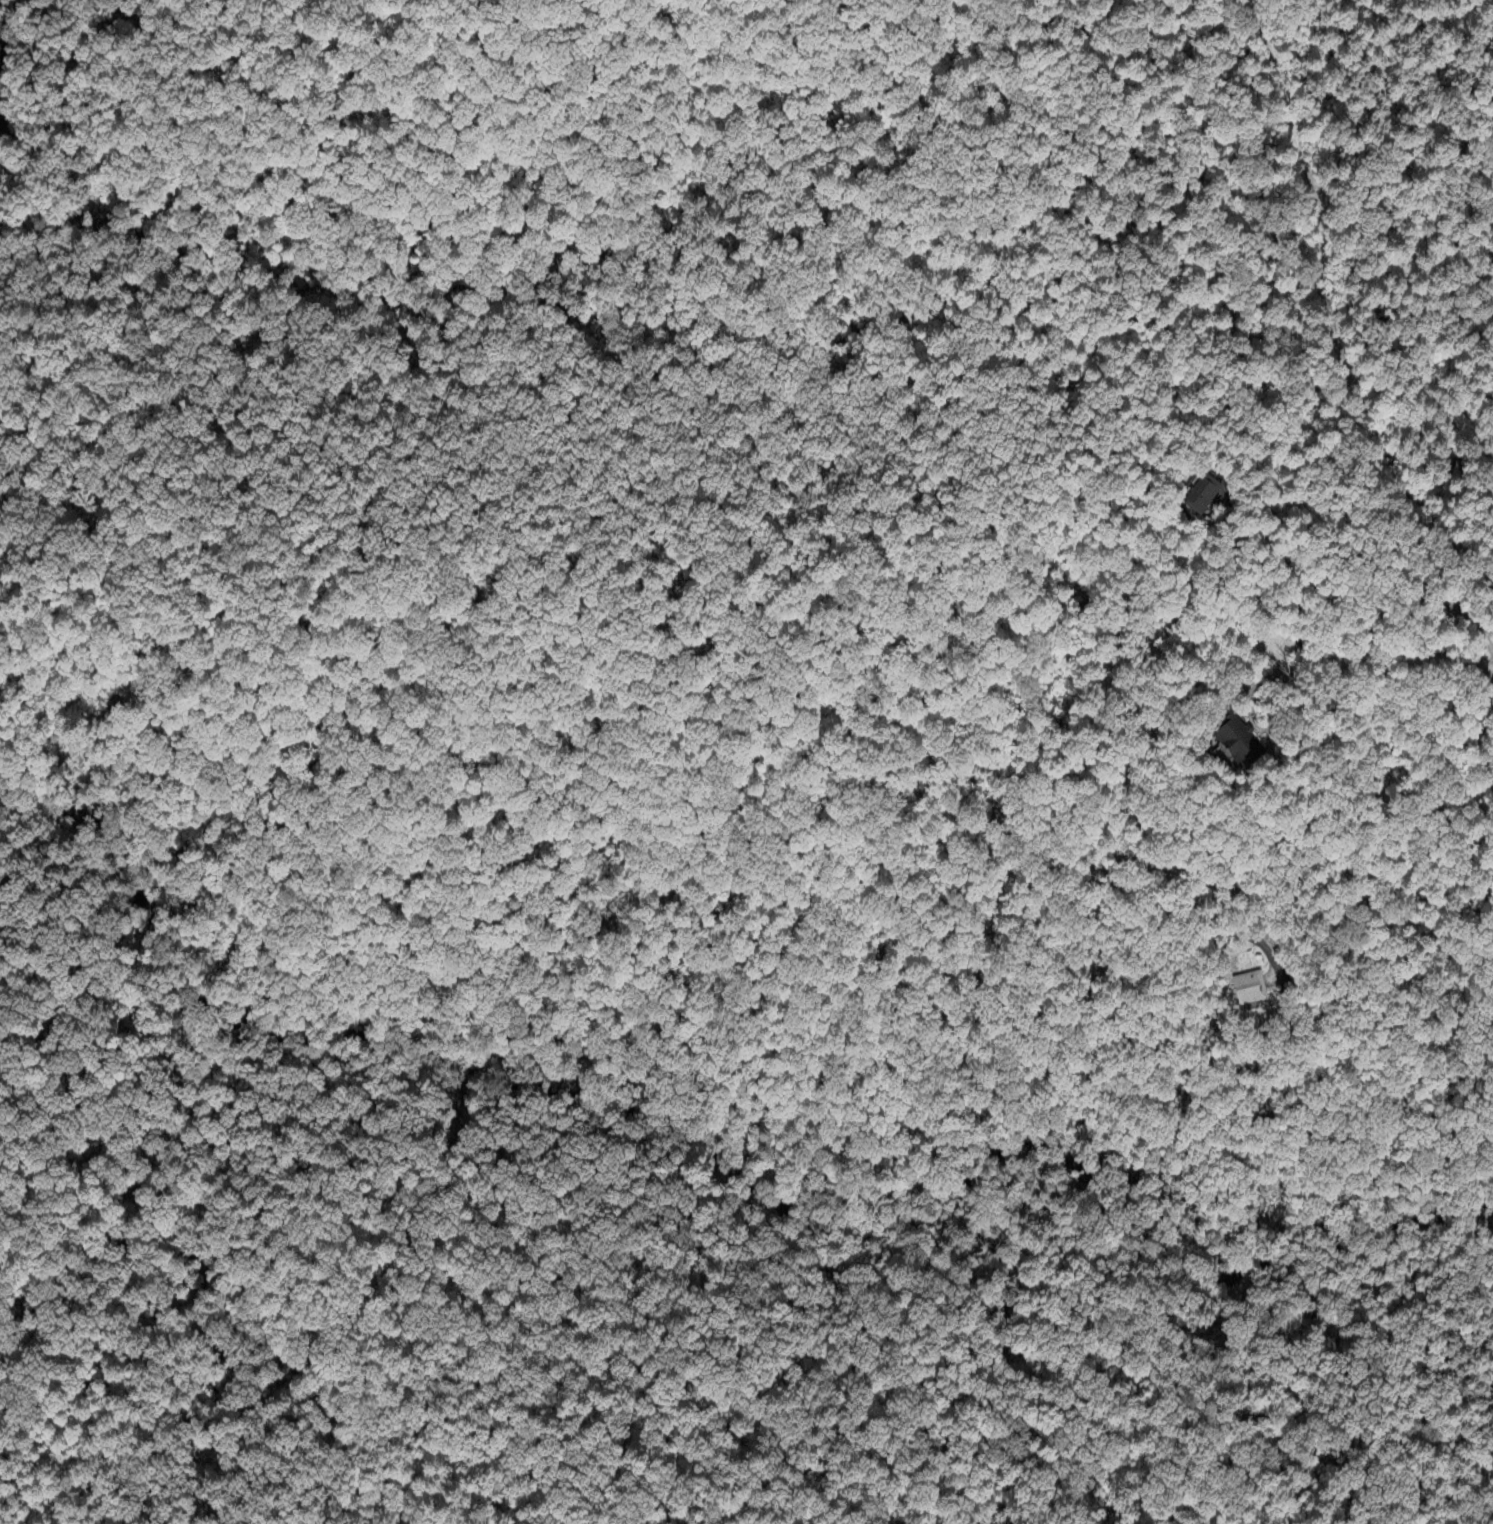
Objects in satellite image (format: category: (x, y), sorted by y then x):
road: (37, 118)
building: (1202, 497)
road: (1383, 661)
road: (1250, 715)
road: (1480, 730)
building: (1239, 745)
road: (1143, 833)
building: (1249, 989)

